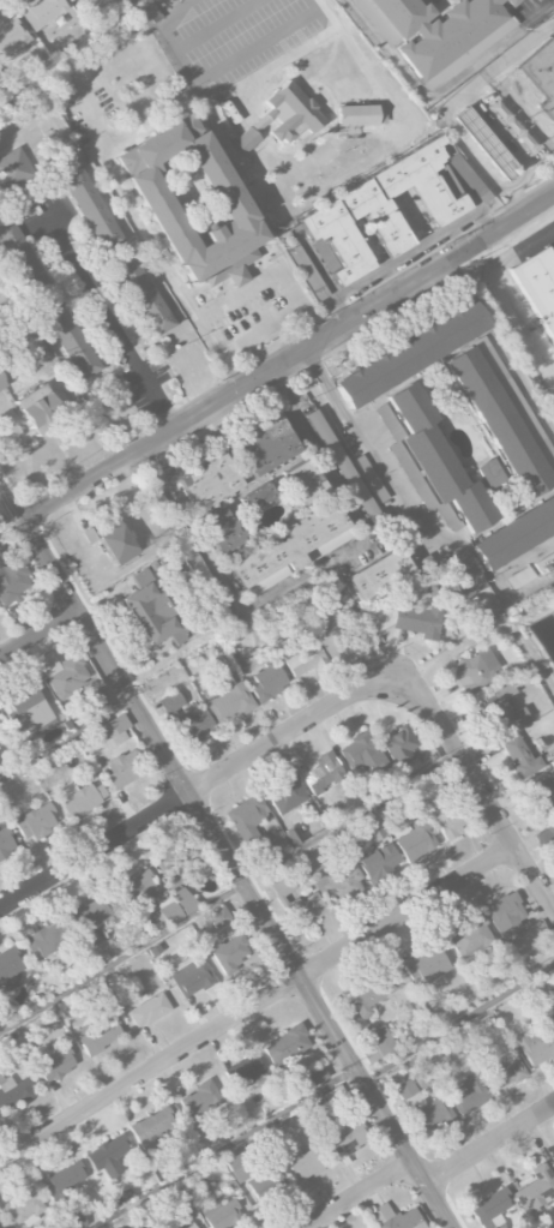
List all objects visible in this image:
building: (511, 0)
building: (43, 12)
building: (438, 31)
building: (11, 37)
road: (517, 49)
road: (71, 53)
building: (542, 73)
road: (441, 86)
building: (361, 115)
building: (282, 118)
road: (506, 136)
building: (484, 143)
road: (465, 145)
building: (14, 169)
road: (464, 192)
building: (192, 203)
building: (91, 209)
building: (372, 214)
road: (404, 254)
building: (24, 259)
road: (320, 272)
road: (169, 276)
road: (505, 286)
building: (537, 288)
building: (141, 293)
building: (10, 310)
road: (109, 318)
building: (71, 337)
road: (501, 340)
road: (288, 354)
building: (411, 354)
road: (216, 355)
building: (1, 384)
building: (38, 411)
building: (500, 421)
building: (266, 448)
building: (435, 459)
building: (492, 473)
building: (303, 481)
building: (210, 483)
building: (258, 498)
road: (413, 510)
building: (441, 511)
road: (11, 523)
building: (222, 532)
building: (514, 534)
building: (115, 543)
building: (290, 549)
building: (198, 564)
road: (303, 571)
building: (375, 575)
building: (464, 576)
building: (12, 580)
building: (151, 610)
building: (407, 621)
road: (40, 634)
road: (179, 651)
building: (303, 658)
building: (474, 671)
building: (62, 672)
road: (413, 679)
building: (267, 681)
building: (230, 702)
building: (97, 703)
building: (499, 709)
building: (30, 712)
building: (185, 720)
building: (115, 729)
road: (67, 743)
building: (398, 745)
building: (361, 754)
building: (519, 756)
building: (121, 771)
building: (323, 773)
road: (475, 778)
building: (541, 791)
building: (285, 792)
road: (185, 797)
building: (79, 798)
building: (442, 813)
building: (247, 816)
building: (35, 822)
building: (550, 827)
building: (367, 833)
building: (414, 840)
building: (5, 844)
road: (225, 853)
building: (311, 861)
building: (377, 861)
building: (168, 870)
building: (339, 885)
road: (229, 892)
building: (150, 895)
building: (183, 899)
building: (296, 903)
building: (92, 915)
building: (218, 916)
building: (507, 917)
building: (470, 940)
building: (42, 942)
building: (229, 952)
building: (428, 965)
building: (8, 970)
building: (188, 977)
building: (550, 984)
building: (374, 994)
road: (258, 1006)
building: (147, 1008)
building: (552, 1017)
road: (458, 1024)
building: (97, 1036)
building: (380, 1041)
building: (285, 1044)
building: (537, 1047)
building: (54, 1065)
building: (243, 1071)
building: (505, 1071)
building: (314, 1074)
building: (13, 1091)
building: (470, 1094)
building: (200, 1098)
building: (423, 1107)
building: (150, 1128)
building: (342, 1136)
road: (225, 1146)
road: (490, 1146)
building: (107, 1156)
building: (303, 1163)
building: (552, 1166)
building: (253, 1176)
building: (64, 1181)
building: (535, 1190)
road: (359, 1196)
building: (23, 1208)
building: (490, 1210)
building: (221, 1214)
building: (396, 1218)
building: (1, 1226)
building: (188, 1226)
building: (175, 1227)

